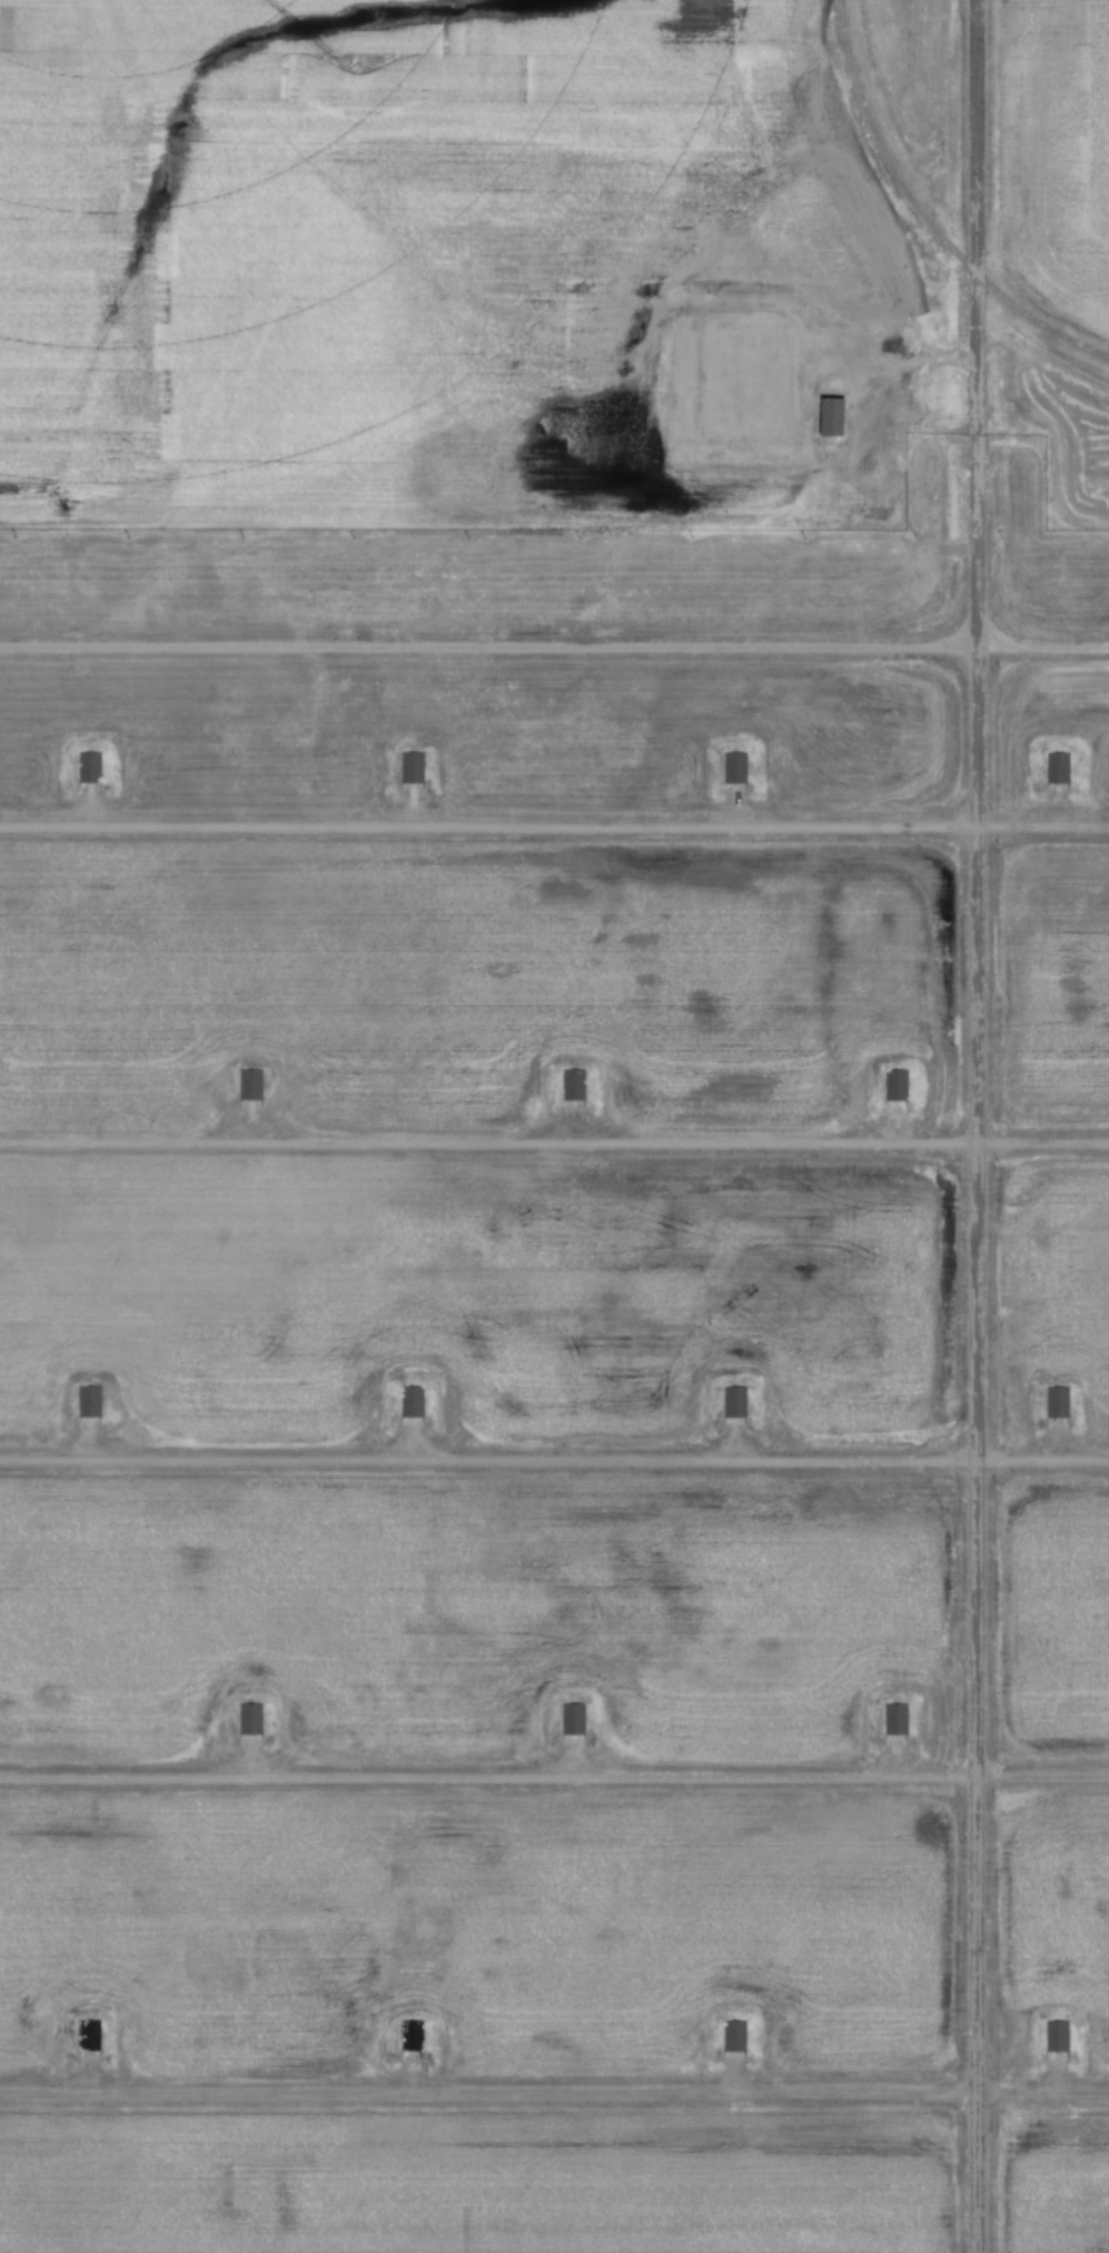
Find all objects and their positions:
railway: (924, 216)
building: (830, 418)
road: (554, 643)
building: (88, 767)
building: (412, 767)
building: (733, 768)
building: (1056, 768)
road: (554, 823)
building: (572, 1084)
building: (250, 1085)
building: (893, 1085)
road: (973, 1126)
road: (554, 1138)
building: (410, 1401)
building: (89, 1402)
building: (1056, 1402)
building: (733, 1403)
road: (554, 1456)
building: (572, 1718)
building: (249, 1719)
road: (554, 1775)
building: (87, 2036)
building: (410, 2036)
building: (732, 2036)
building: (1054, 2036)
road: (554, 2091)

